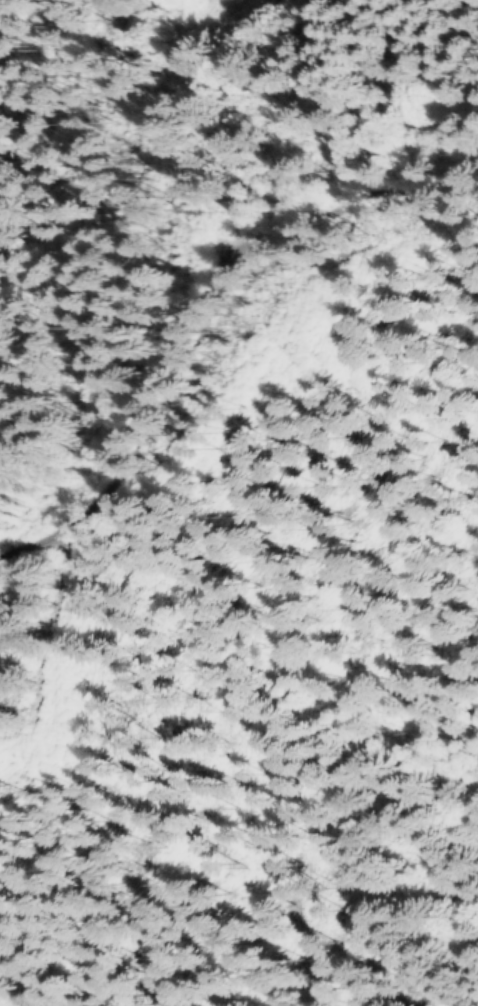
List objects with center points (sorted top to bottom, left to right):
road: (209, 352)

